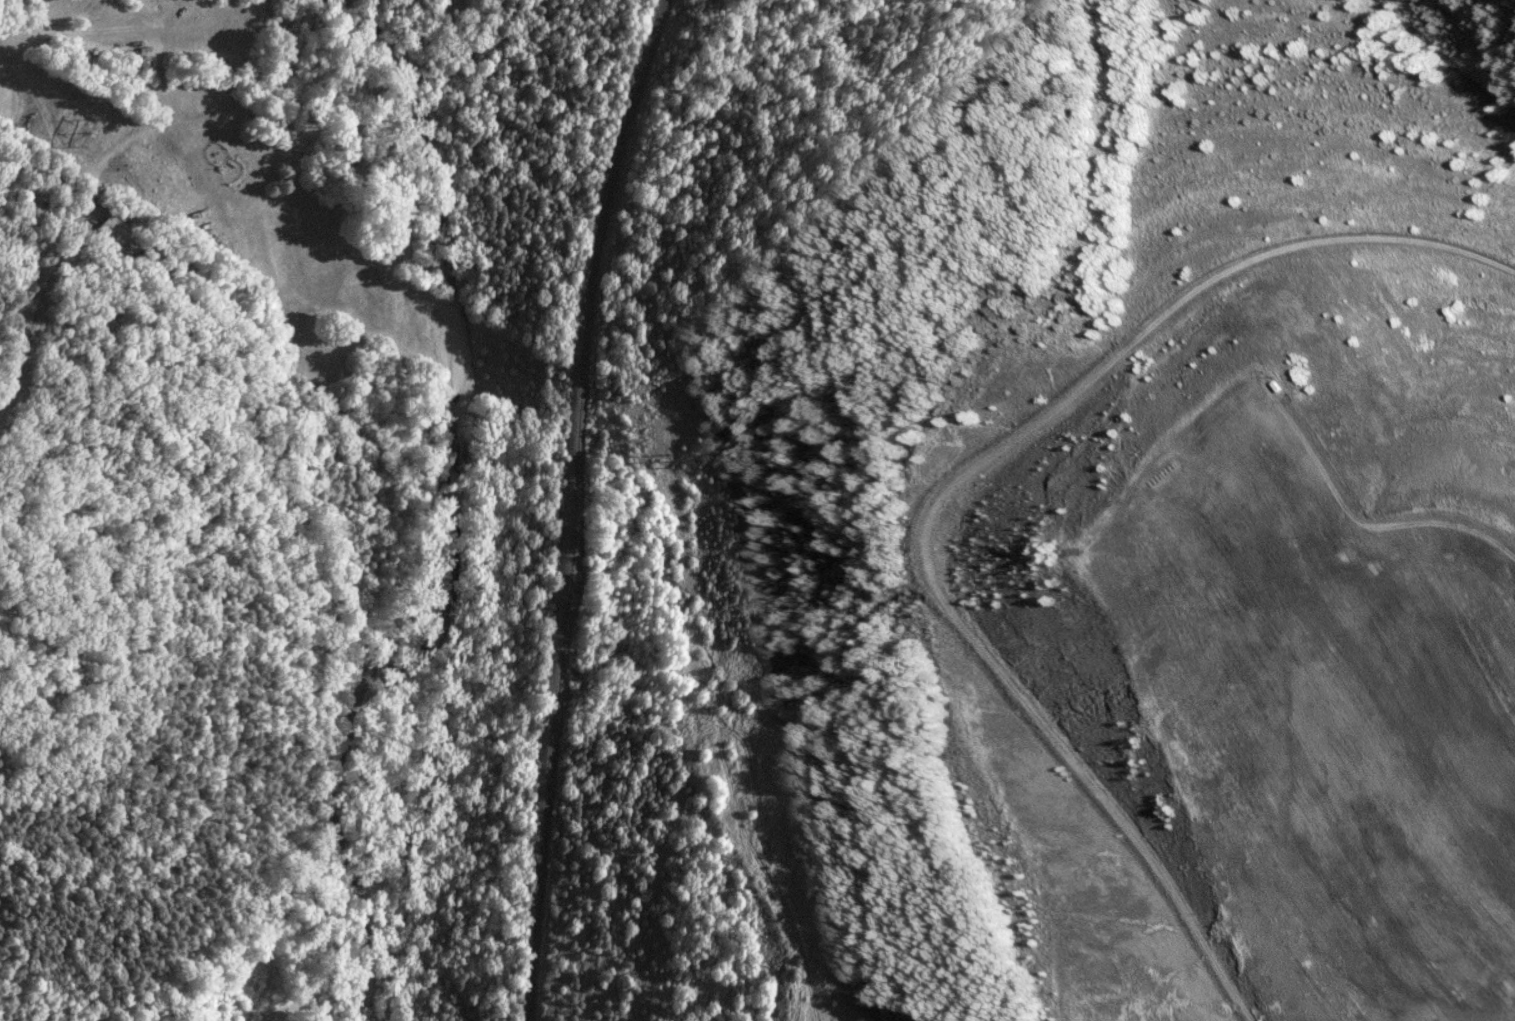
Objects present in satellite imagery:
power tower: (81, 129)
building: (113, 225)
road: (39, 308)
power tower: (654, 462)
railway: (568, 505)
airport: (1194, 571)

